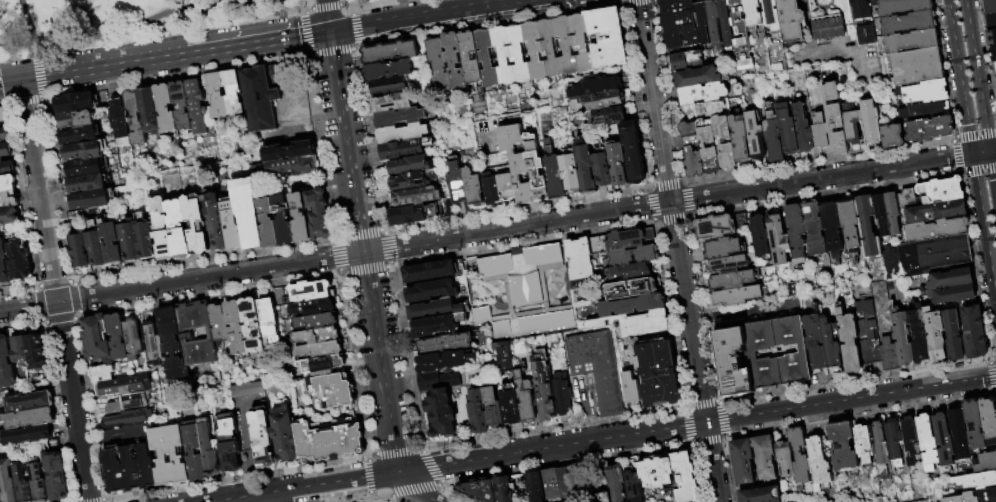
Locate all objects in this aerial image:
road: (617, 1)
road: (638, 2)
road: (343, 3)
road: (302, 4)
road: (376, 4)
road: (620, 4)
building: (900, 6)
building: (990, 6)
road: (325, 7)
road: (349, 7)
building: (858, 8)
road: (308, 9)
road: (305, 11)
building: (754, 12)
road: (429, 15)
building: (771, 15)
road: (151, 17)
building: (793, 20)
park: (118, 21)
building: (991, 21)
building: (677, 22)
building: (703, 22)
building: (726, 22)
building: (907, 22)
road: (487, 24)
building: (715, 24)
road: (28, 26)
building: (827, 28)
road: (354, 29)
road: (306, 31)
traffic signals: (329, 31)
building: (741, 34)
building: (867, 35)
building: (604, 37)
building: (992, 37)
road: (256, 41)
building: (910, 41)
building: (579, 42)
building: (564, 44)
road: (355, 47)
building: (548, 47)
road: (987, 49)
road: (332, 50)
building: (532, 50)
building: (391, 52)
building: (516, 53)
building: (500, 54)
building: (994, 54)
building: (467, 56)
building: (484, 57)
building: (452, 60)
building: (687, 61)
building: (436, 64)
building: (915, 66)
road: (92, 67)
road: (945, 68)
building: (390, 70)
road: (177, 73)
road: (37, 74)
road: (977, 75)
road: (960, 76)
building: (698, 77)
traffic signals: (21, 79)
building: (391, 86)
building: (599, 88)
building: (925, 92)
building: (234, 94)
building: (705, 94)
building: (217, 97)
building: (260, 98)
road: (40, 99)
road: (25, 101)
building: (607, 101)
road: (5, 102)
building: (75, 102)
building: (394, 102)
building: (181, 105)
building: (197, 106)
building: (165, 108)
building: (149, 110)
building: (921, 111)
building: (3, 114)
building: (401, 117)
building: (607, 117)
building: (76, 118)
building: (135, 118)
building: (833, 118)
building: (119, 119)
building: (869, 121)
building: (0, 125)
road: (344, 125)
building: (786, 127)
building: (802, 128)
building: (851, 128)
building: (928, 128)
building: (818, 129)
road: (976, 132)
building: (3, 134)
building: (78, 134)
building: (404, 134)
building: (754, 135)
building: (891, 135)
building: (772, 136)
building: (738, 137)
road: (953, 137)
road: (370, 140)
building: (717, 141)
road: (322, 143)
building: (713, 147)
building: (691, 149)
building: (5, 150)
building: (84, 150)
building: (403, 150)
road: (993, 150)
traffic signals: (990, 151)
road: (981, 152)
building: (631, 153)
traffic signals: (973, 154)
road: (954, 155)
building: (291, 158)
building: (516, 161)
building: (411, 165)
building: (616, 165)
building: (83, 167)
building: (6, 168)
building: (584, 169)
building: (601, 169)
road: (992, 169)
road: (979, 171)
building: (570, 172)
road: (959, 172)
road: (727, 174)
building: (537, 177)
building: (554, 178)
road: (821, 178)
building: (410, 181)
building: (7, 183)
building: (85, 183)
building: (458, 184)
building: (506, 186)
building: (474, 188)
building: (492, 190)
building: (939, 190)
road: (56, 192)
road: (604, 193)
road: (23, 195)
building: (904, 195)
building: (419, 196)
building: (89, 199)
building: (8, 200)
building: (451, 209)
road: (728, 209)
building: (934, 210)
road: (671, 211)
building: (248, 212)
building: (886, 212)
building: (318, 214)
building: (416, 215)
building: (9, 216)
building: (300, 218)
building: (215, 220)
building: (283, 220)
building: (268, 223)
building: (195, 225)
building: (851, 225)
road: (984, 225)
building: (232, 226)
building: (160, 227)
road: (517, 227)
building: (717, 227)
building: (815, 228)
building: (834, 228)
building: (868, 228)
building: (934, 228)
building: (178, 229)
building: (797, 230)
road: (359, 233)
building: (146, 235)
building: (761, 236)
road: (339, 237)
building: (131, 240)
building: (619, 240)
road: (334, 241)
building: (779, 241)
building: (112, 243)
building: (96, 244)
road: (524, 244)
road: (387, 248)
building: (723, 249)
building: (80, 251)
road: (337, 254)
building: (937, 254)
building: (632, 255)
road: (204, 259)
building: (578, 259)
building: (19, 261)
building: (894, 263)
road: (974, 263)
road: (390, 264)
building: (3, 265)
building: (728, 265)
road: (388, 267)
road: (340, 270)
building: (630, 270)
road: (365, 271)
building: (435, 271)
road: (344, 274)
road: (72, 280)
road: (182, 280)
building: (952, 280)
building: (733, 281)
road: (54, 283)
road: (34, 287)
building: (630, 288)
road: (17, 289)
building: (790, 289)
road: (55, 290)
building: (312, 291)
building: (433, 291)
building: (519, 291)
road: (210, 293)
building: (955, 295)
road: (75, 297)
building: (737, 297)
road: (36, 304)
building: (630, 305)
building: (313, 307)
building: (436, 310)
road: (79, 312)
road: (669, 315)
road: (78, 316)
road: (75, 318)
building: (268, 318)
road: (59, 320)
building: (317, 321)
road: (40, 322)
building: (643, 323)
road: (20, 324)
building: (219, 324)
building: (252, 325)
building: (437, 326)
building: (236, 328)
building: (970, 329)
building: (866, 332)
building: (196, 334)
building: (918, 334)
building: (934, 334)
building: (952, 334)
building: (317, 335)
building: (901, 336)
building: (117, 337)
building: (97, 338)
building: (133, 340)
building: (848, 341)
building: (814, 342)
building: (153, 344)
building: (172, 344)
building: (447, 344)
building: (830, 347)
building: (18, 350)
building: (319, 350)
building: (34, 351)
building: (802, 352)
road: (994, 353)
building: (888, 354)
road: (988, 355)
road: (406, 356)
building: (505, 358)
road: (382, 361)
building: (444, 361)
building: (732, 361)
building: (6, 363)
building: (323, 364)
road: (356, 364)
building: (595, 367)
building: (657, 372)
building: (102, 374)
road: (991, 376)
road: (853, 380)
building: (126, 386)
building: (545, 387)
building: (632, 389)
building: (247, 390)
building: (331, 390)
road: (993, 393)
building: (563, 395)
building: (526, 398)
road: (851, 398)
building: (27, 400)
building: (441, 402)
road: (702, 402)
building: (127, 403)
building: (512, 405)
road: (90, 408)
building: (494, 408)
road: (55, 412)
building: (480, 413)
road: (860, 414)
building: (28, 417)
road: (722, 418)
building: (987, 418)
building: (128, 419)
traffic signals: (706, 422)
building: (972, 423)
road: (687, 424)
road: (555, 426)
building: (957, 433)
building: (29, 434)
building: (284, 434)
road: (726, 436)
building: (893, 438)
building: (941, 438)
building: (328, 439)
building: (909, 439)
building: (263, 440)
building: (925, 441)
building: (228, 442)
road: (707, 442)
building: (863, 443)
road: (691, 444)
building: (842, 445)
building: (879, 446)
road: (421, 447)
building: (209, 449)
building: (995, 449)
road: (396, 450)
building: (194, 453)
road: (369, 455)
building: (164, 456)
building: (765, 457)
building: (799, 457)
building: (784, 458)
building: (743, 460)
building: (818, 461)
building: (983, 461)
building: (129, 462)
road: (459, 462)
road: (712, 462)
road: (566, 463)
road: (431, 466)
road: (727, 470)
traffic signals: (402, 471)
building: (654, 472)
road: (695, 473)
building: (54, 476)
road: (367, 476)
building: (682, 476)
building: (629, 477)
road: (235, 478)
building: (613, 479)
building: (974, 479)
building: (8, 481)
road: (405, 481)
building: (564, 482)
building: (22, 483)
building: (38, 483)
road: (441, 484)
building: (549, 484)
building: (532, 486)
road: (424, 488)
building: (478, 488)
building: (502, 488)
road: (401, 493)
road: (369, 494)
road: (454, 494)
building: (760, 495)
building: (1, 496)
road: (381, 496)
building: (973, 496)
road: (418, 497)
building: (600, 497)
road: (104, 499)
road: (352, 499)
road: (370, 499)
road: (373, 499)
road: (88, 500)
park: (365, 501)

